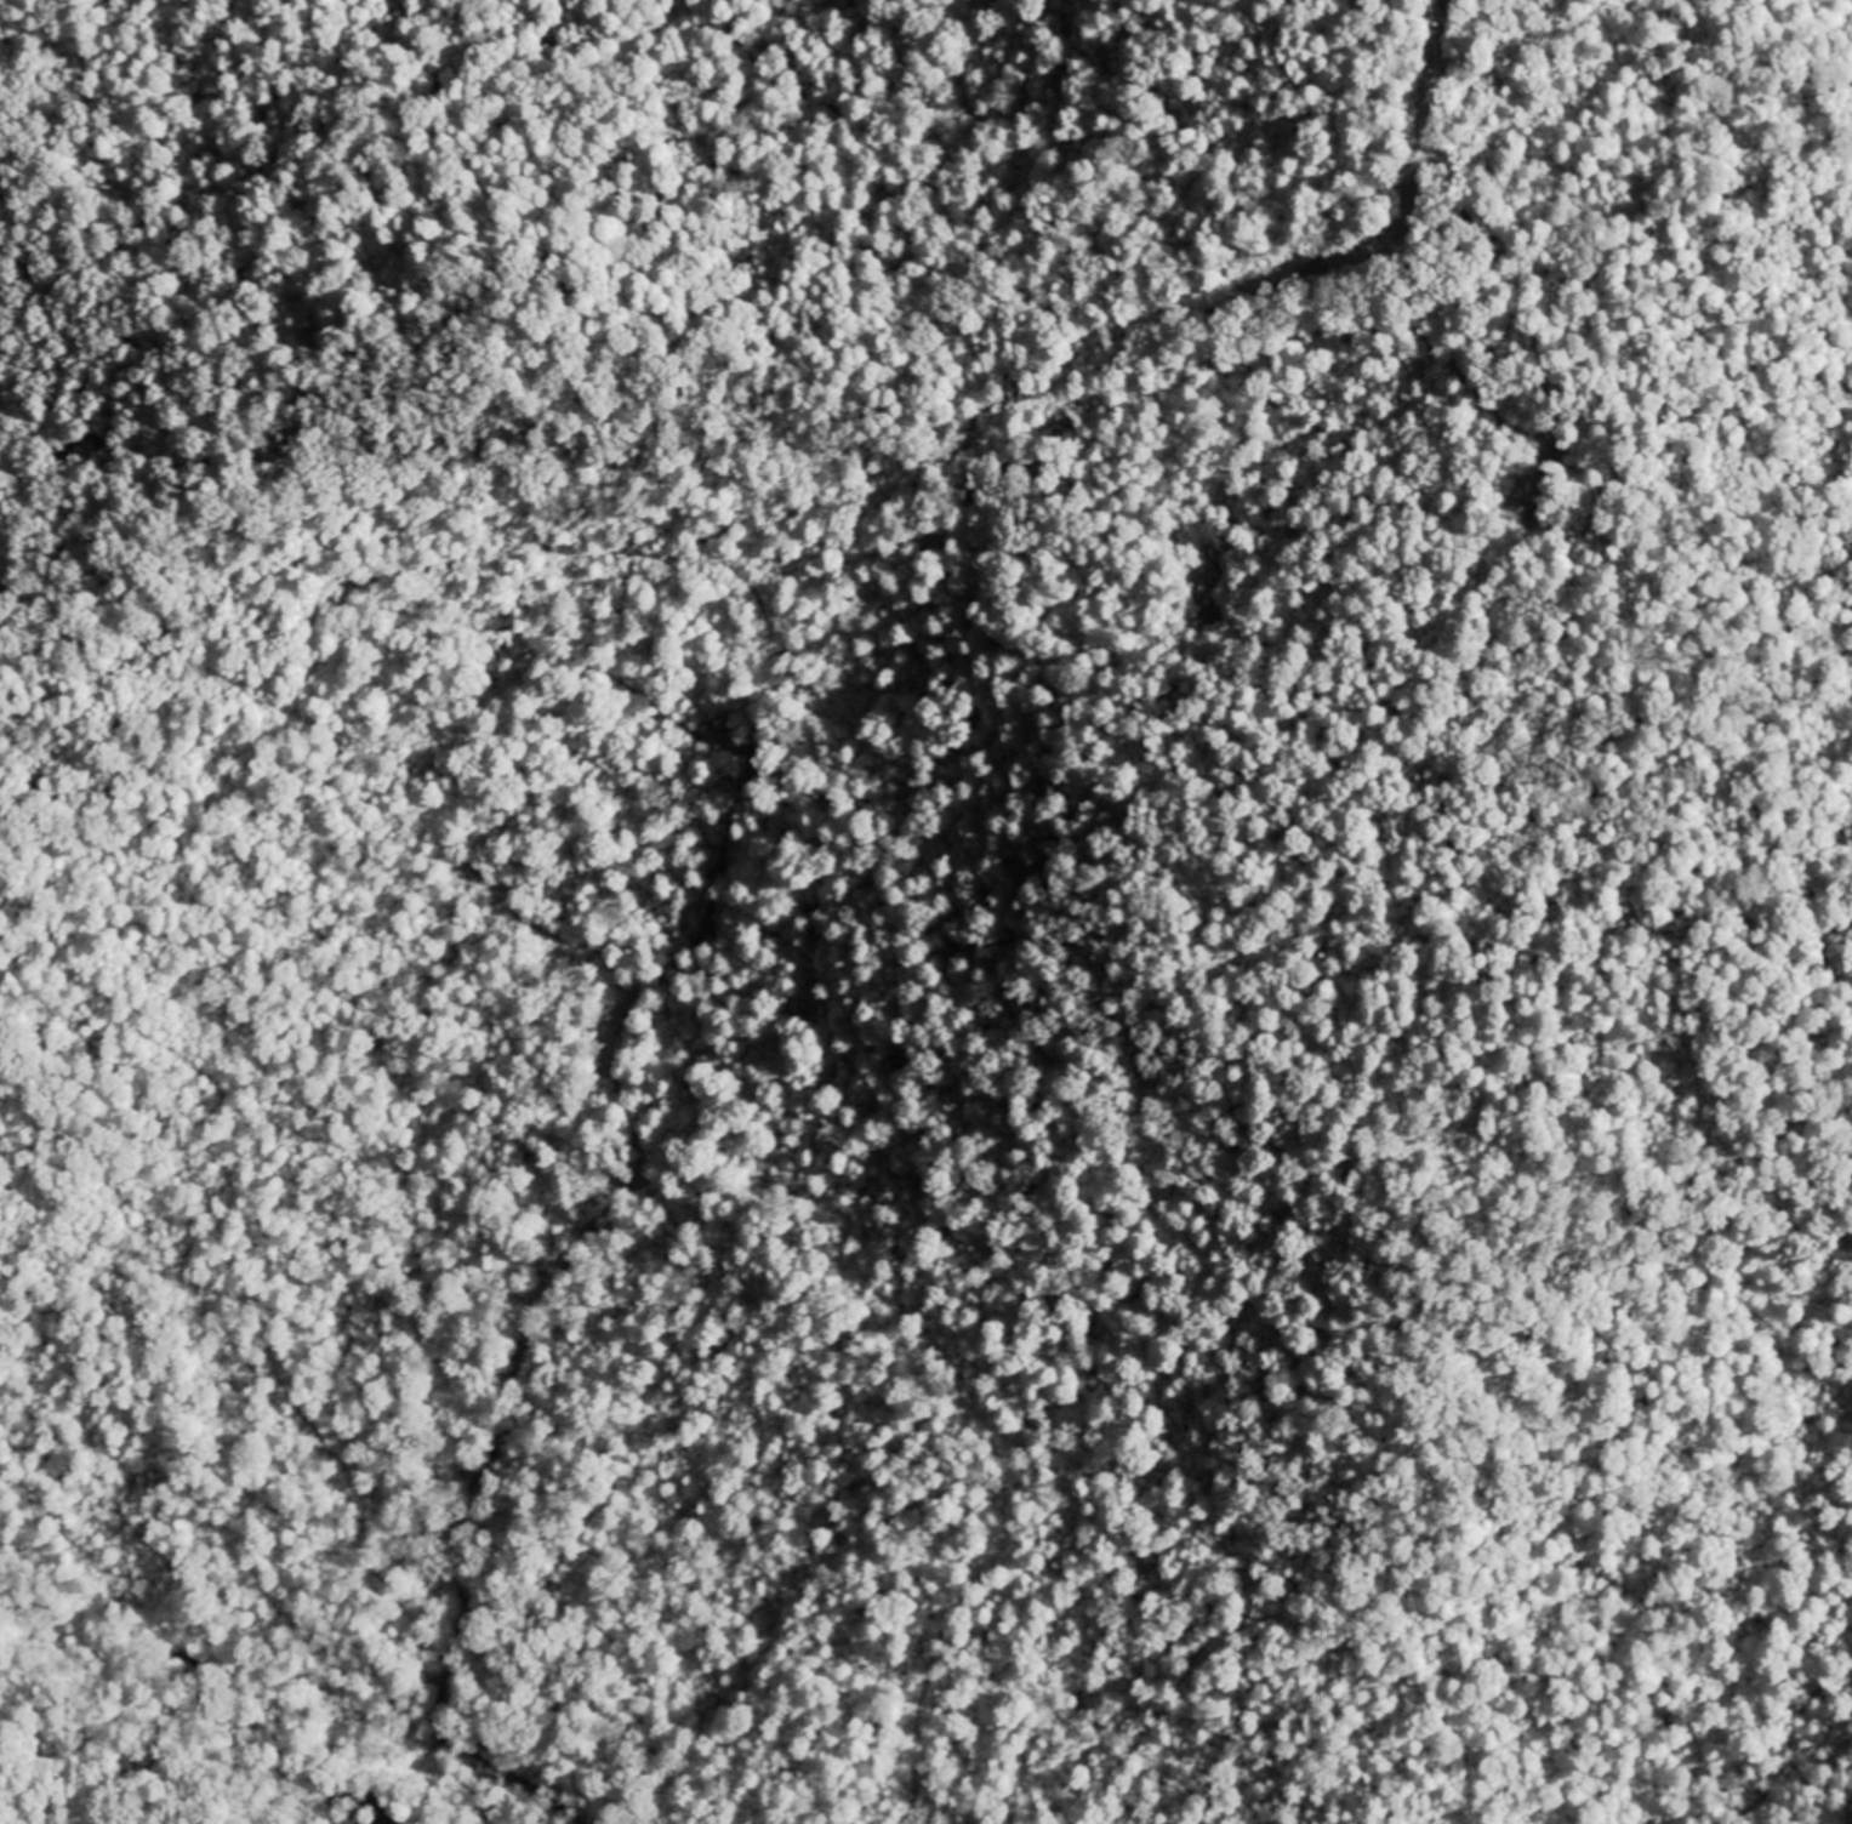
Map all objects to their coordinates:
road: (656, 343)
road: (619, 688)
road: (558, 935)

